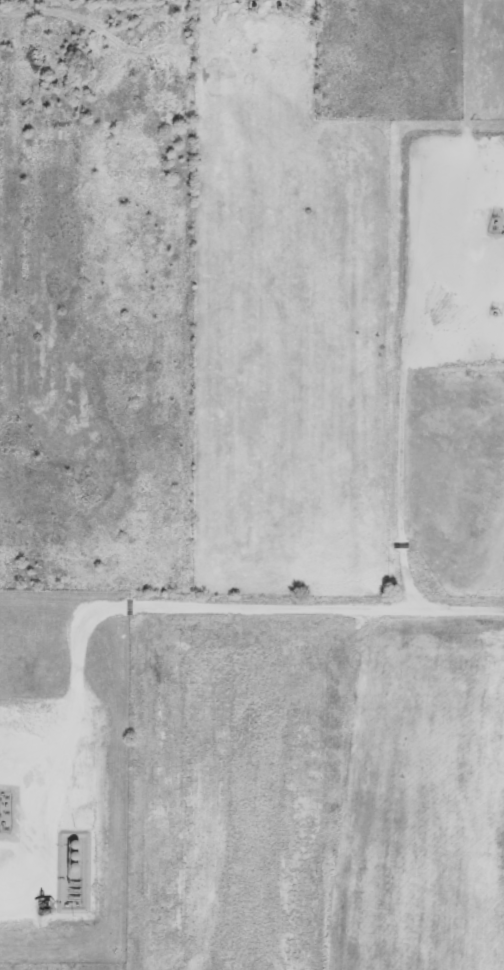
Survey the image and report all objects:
road: (296, 609)

